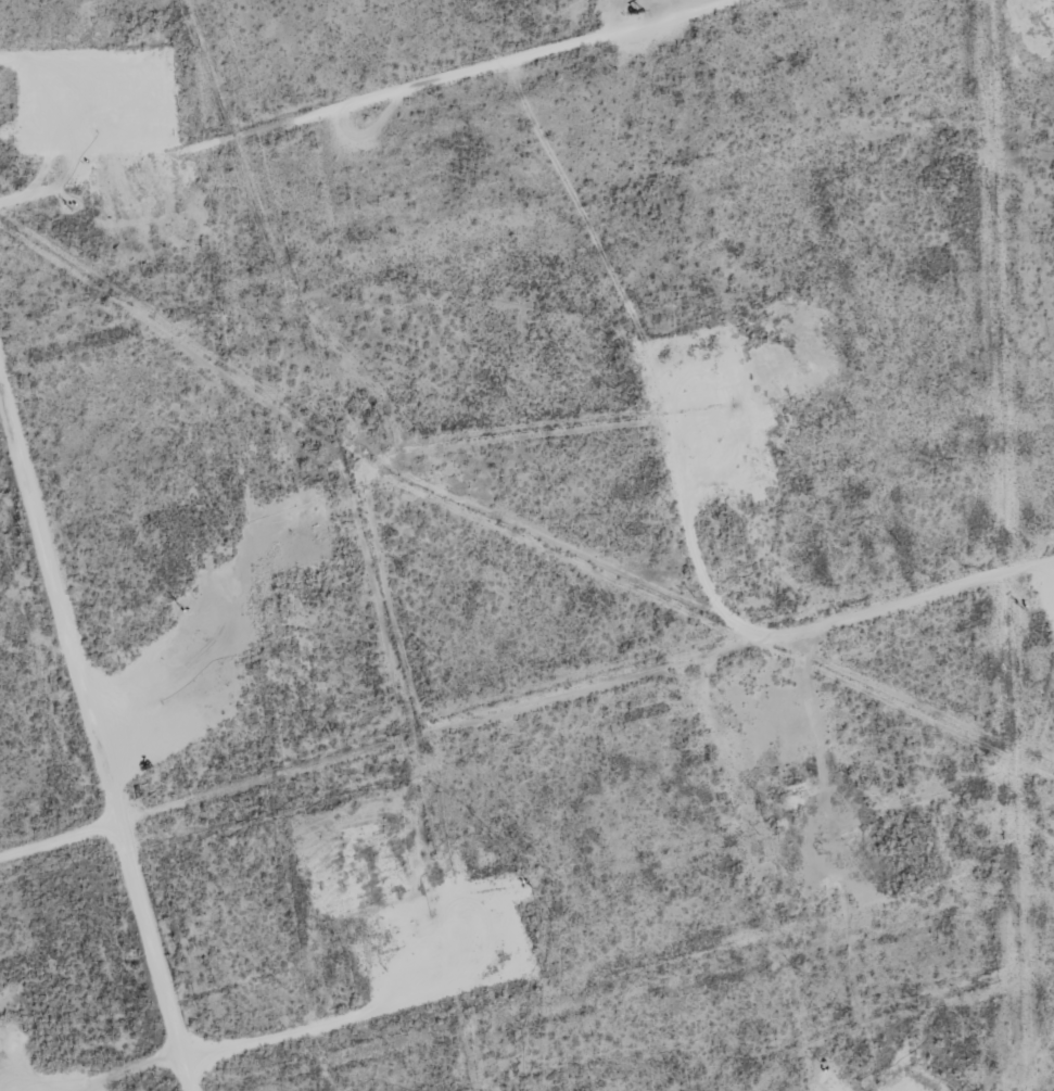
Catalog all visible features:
road: (415, 117)
road: (98, 710)
road: (526, 738)

